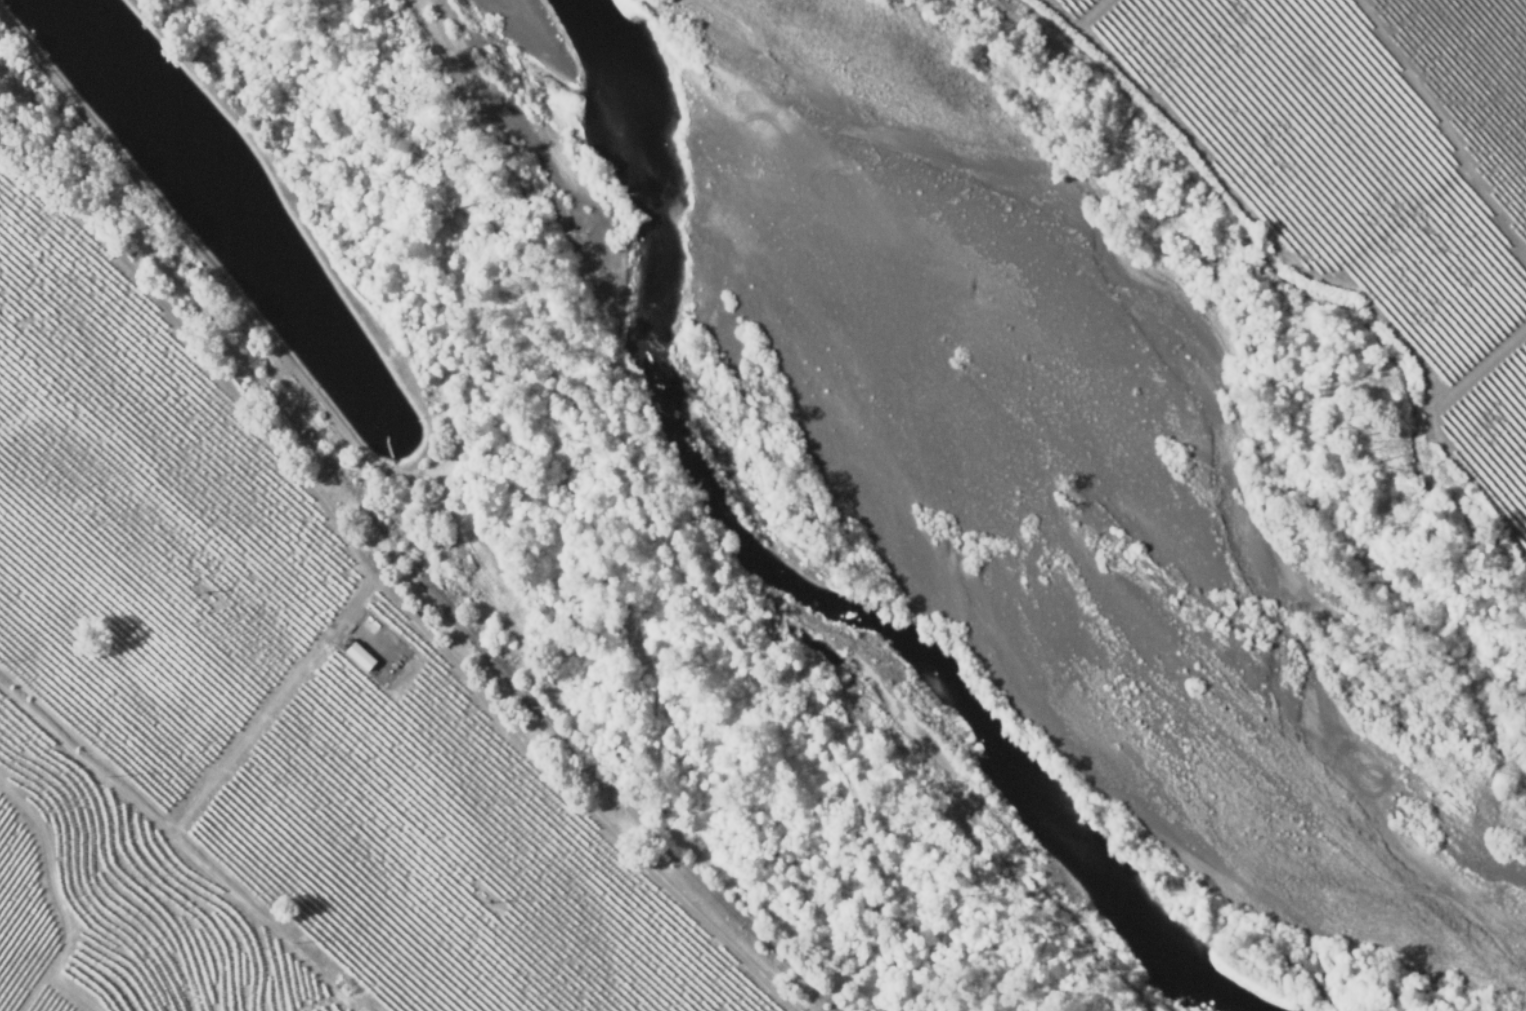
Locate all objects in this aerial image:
railway: (404, 552)
river: (773, 556)
building: (362, 657)

